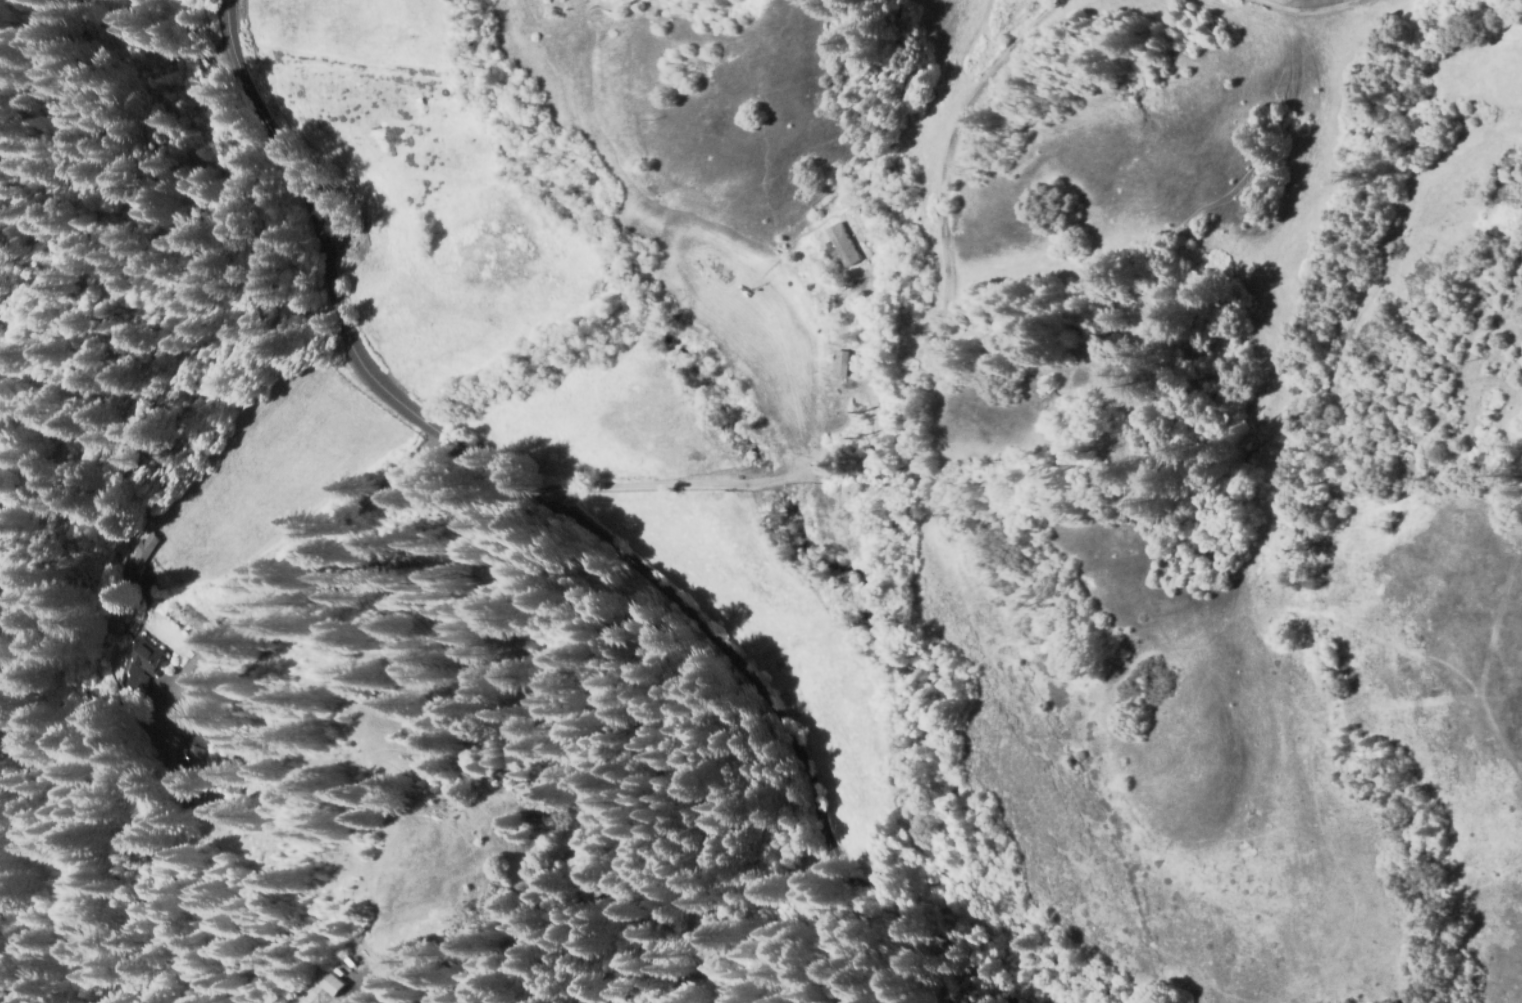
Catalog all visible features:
road: (1297, 18)
building: (849, 237)
building: (842, 364)
road: (907, 389)
building: (837, 451)
road: (571, 524)
building: (137, 552)
building: (123, 582)
building: (138, 661)
building: (177, 731)
building: (167, 761)
building: (354, 961)
building: (332, 984)

